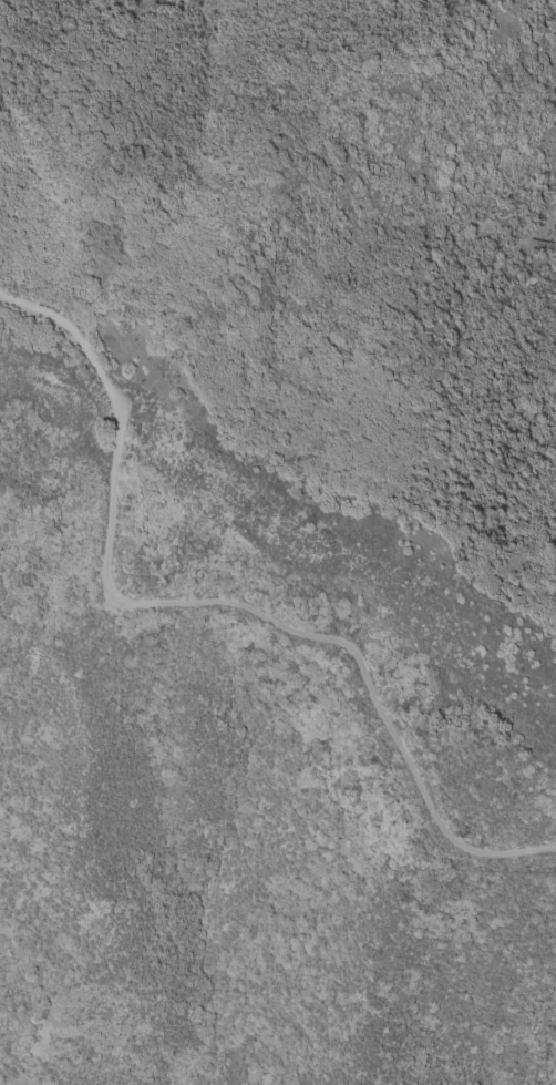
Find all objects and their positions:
road: (216, 595)

